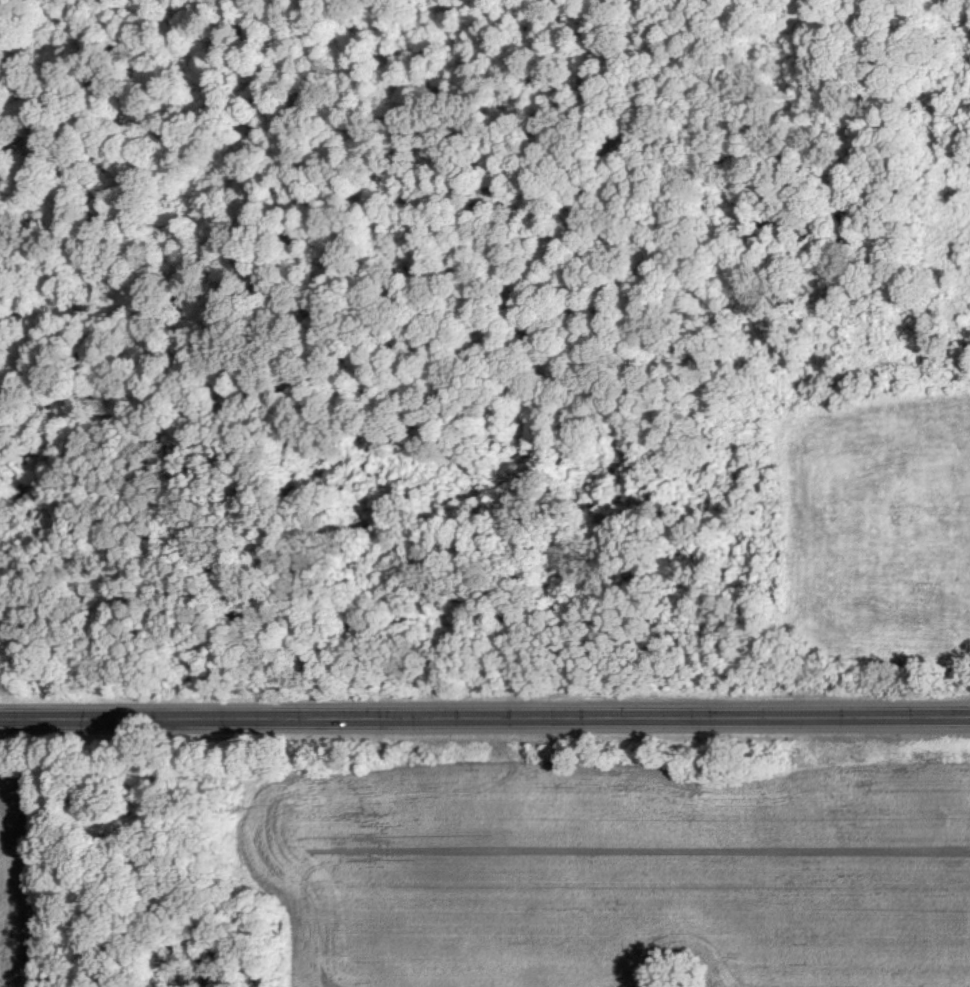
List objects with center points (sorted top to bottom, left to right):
road: (484, 715)

